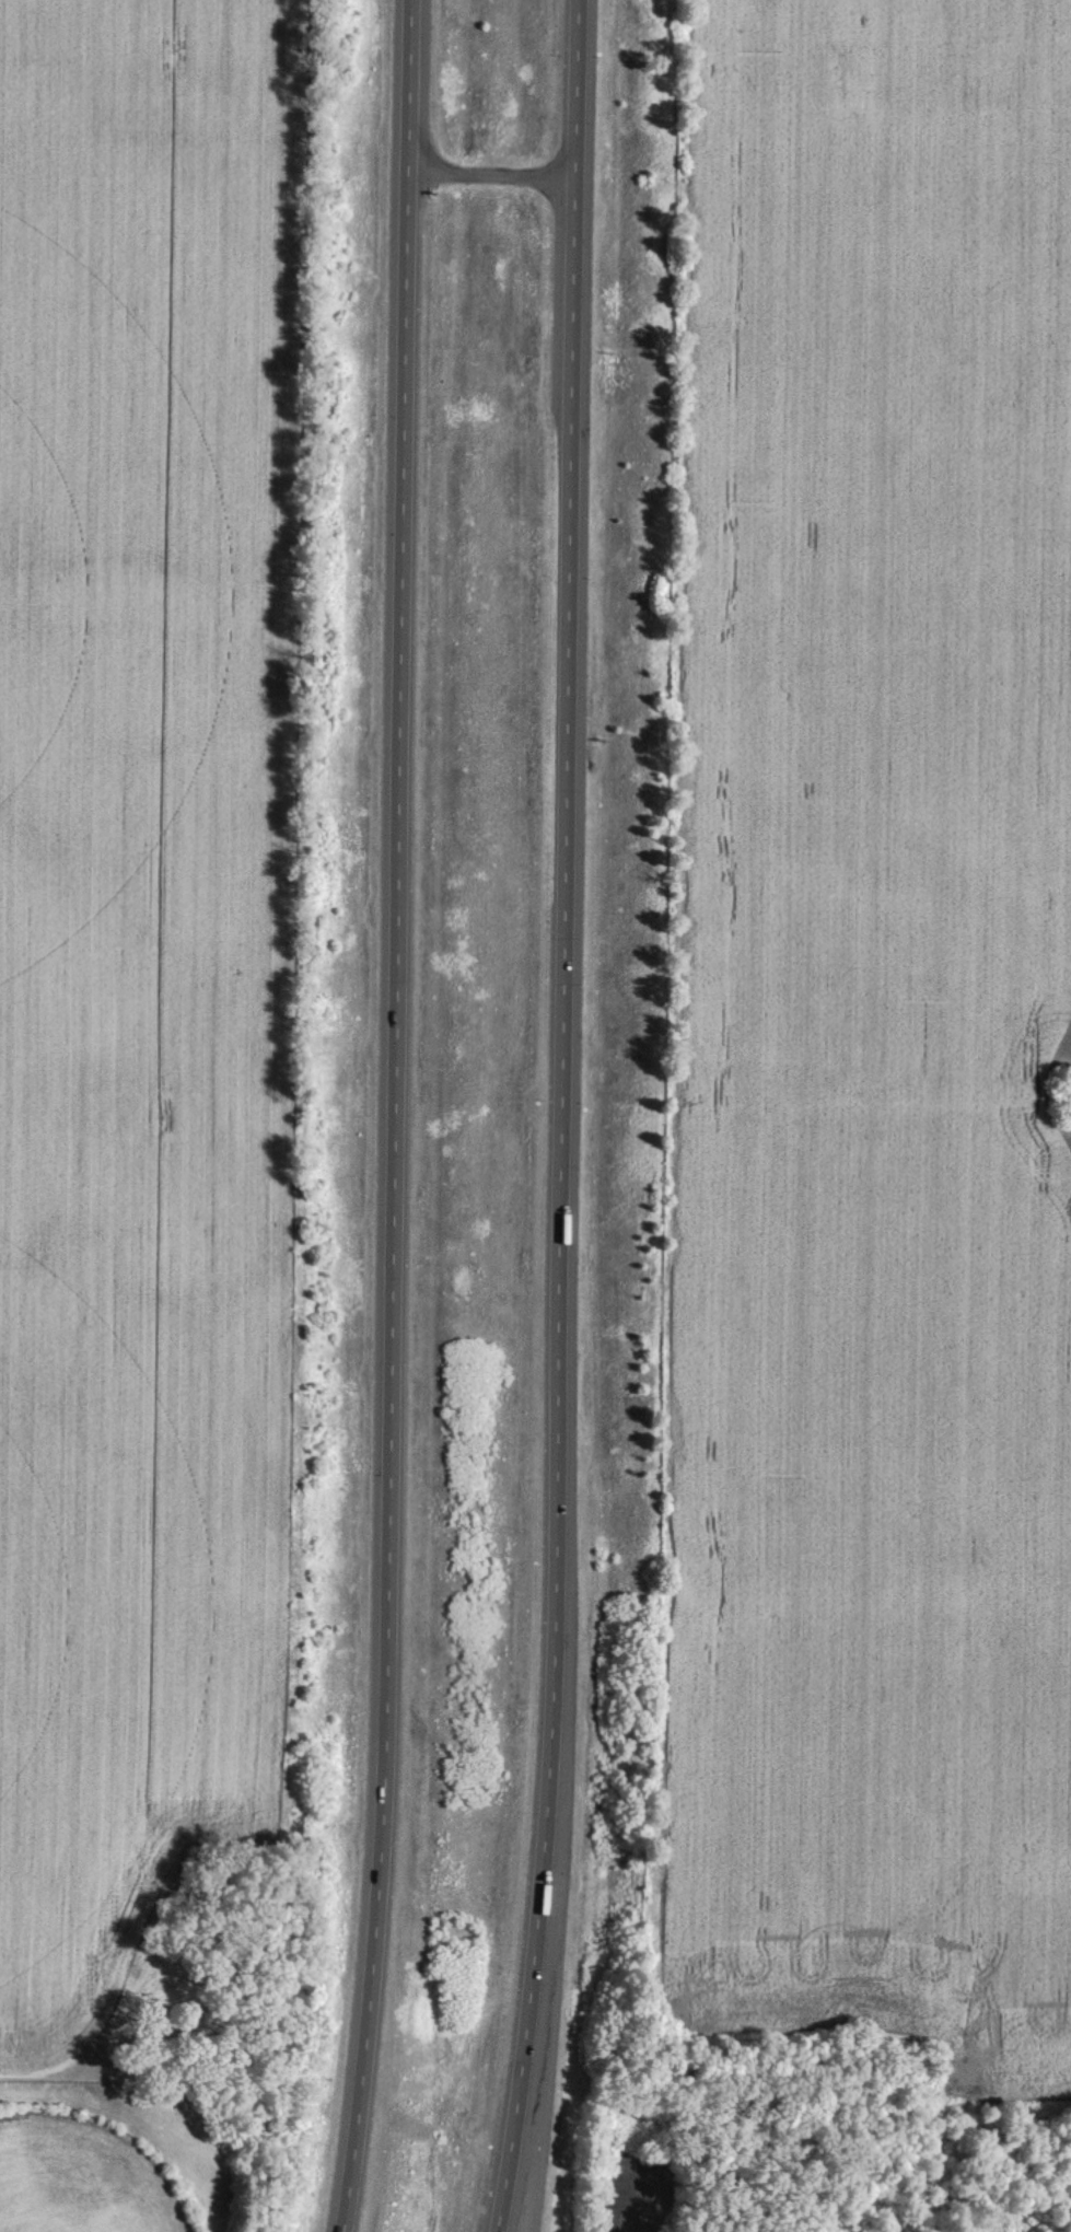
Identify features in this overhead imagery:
road: (494, 170)
road: (398, 1117)
road: (564, 1117)
road: (534, 2128)

